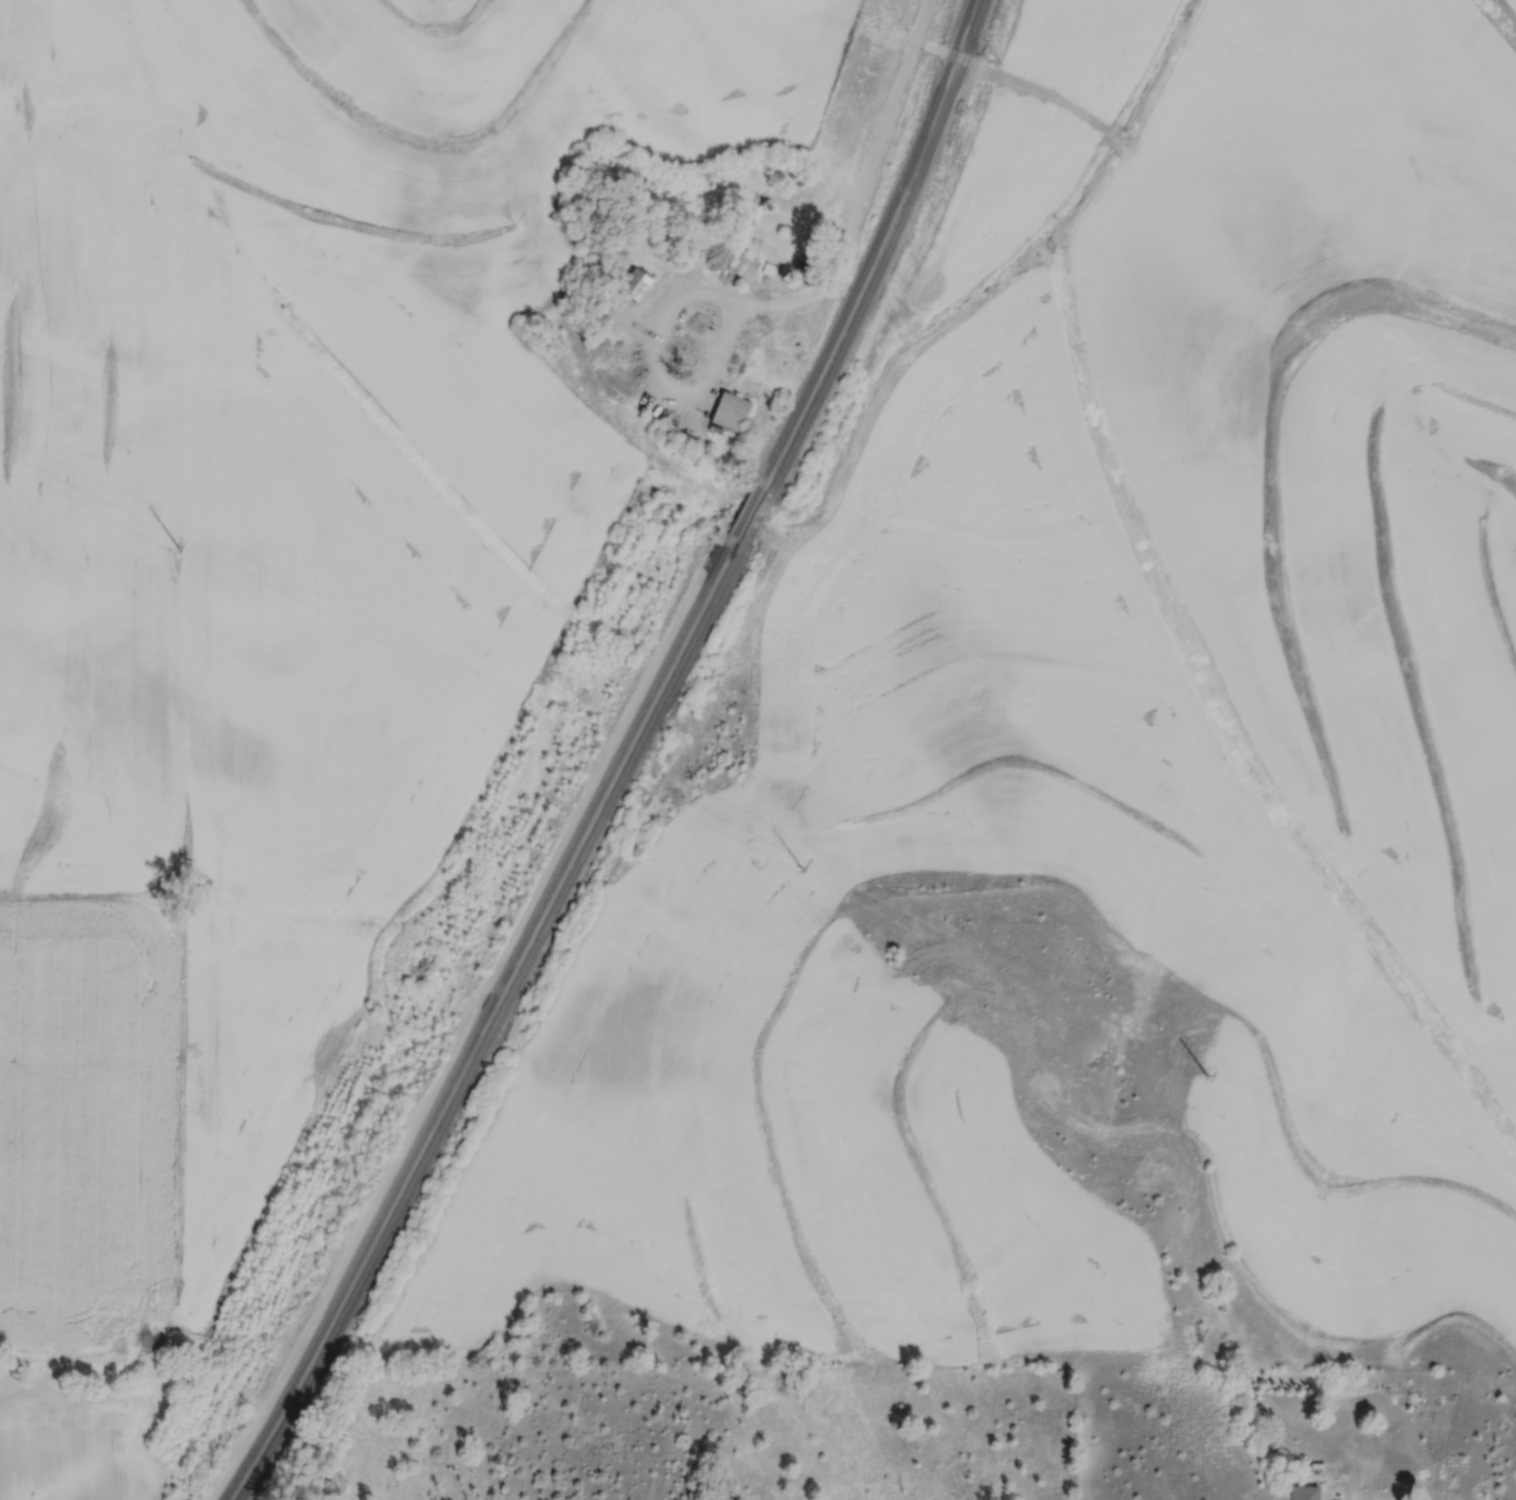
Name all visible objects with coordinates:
road: (1027, 88)
road: (876, 184)
building: (765, 251)
building: (630, 275)
building: (637, 285)
building: (698, 323)
building: (795, 342)
building: (617, 349)
road: (661, 392)
building: (727, 406)
power tower: (181, 549)
railway: (629, 760)
railway: (613, 761)
power tower: (803, 868)
power tower: (1213, 1076)
building: (1305, 1492)

